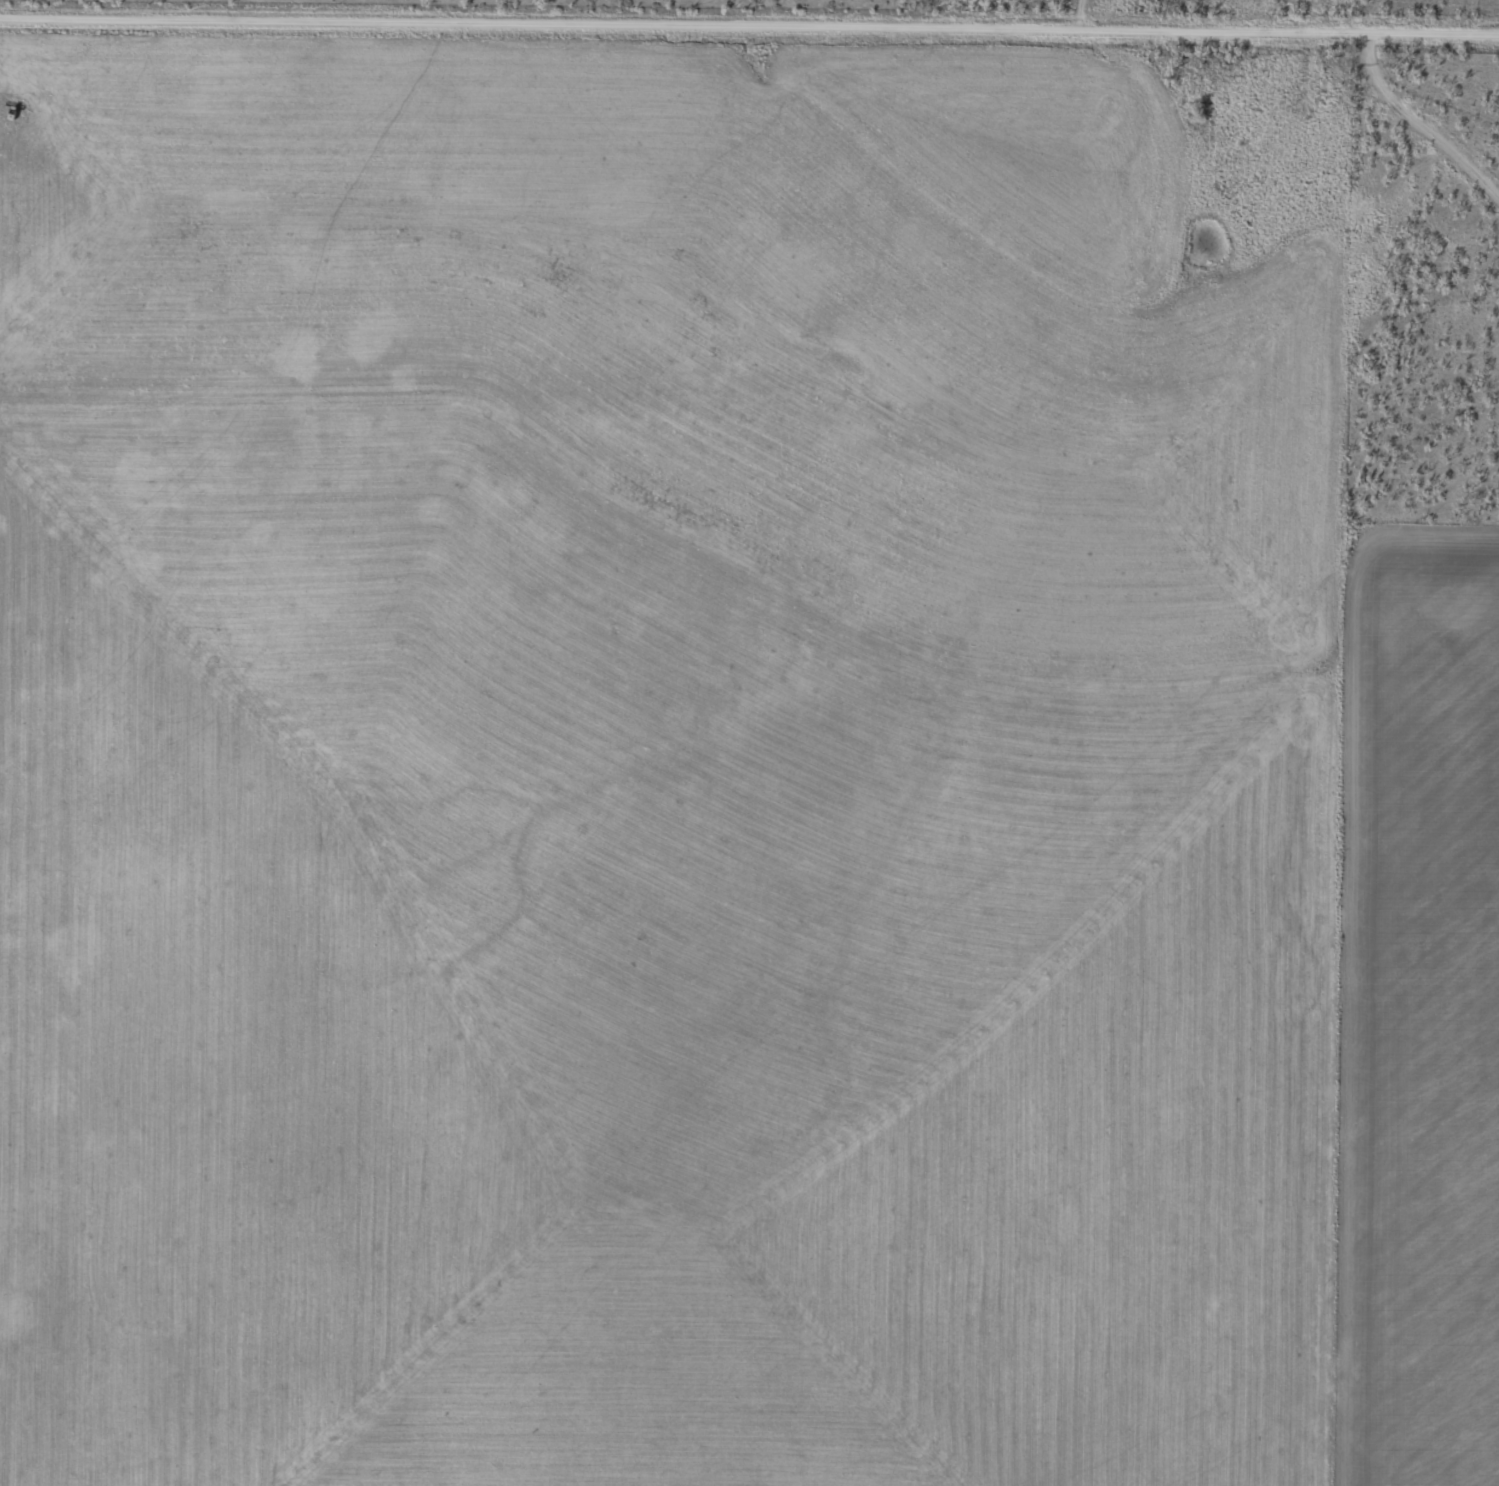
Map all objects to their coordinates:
road: (1091, 12)
road: (749, 21)
road: (1404, 150)

